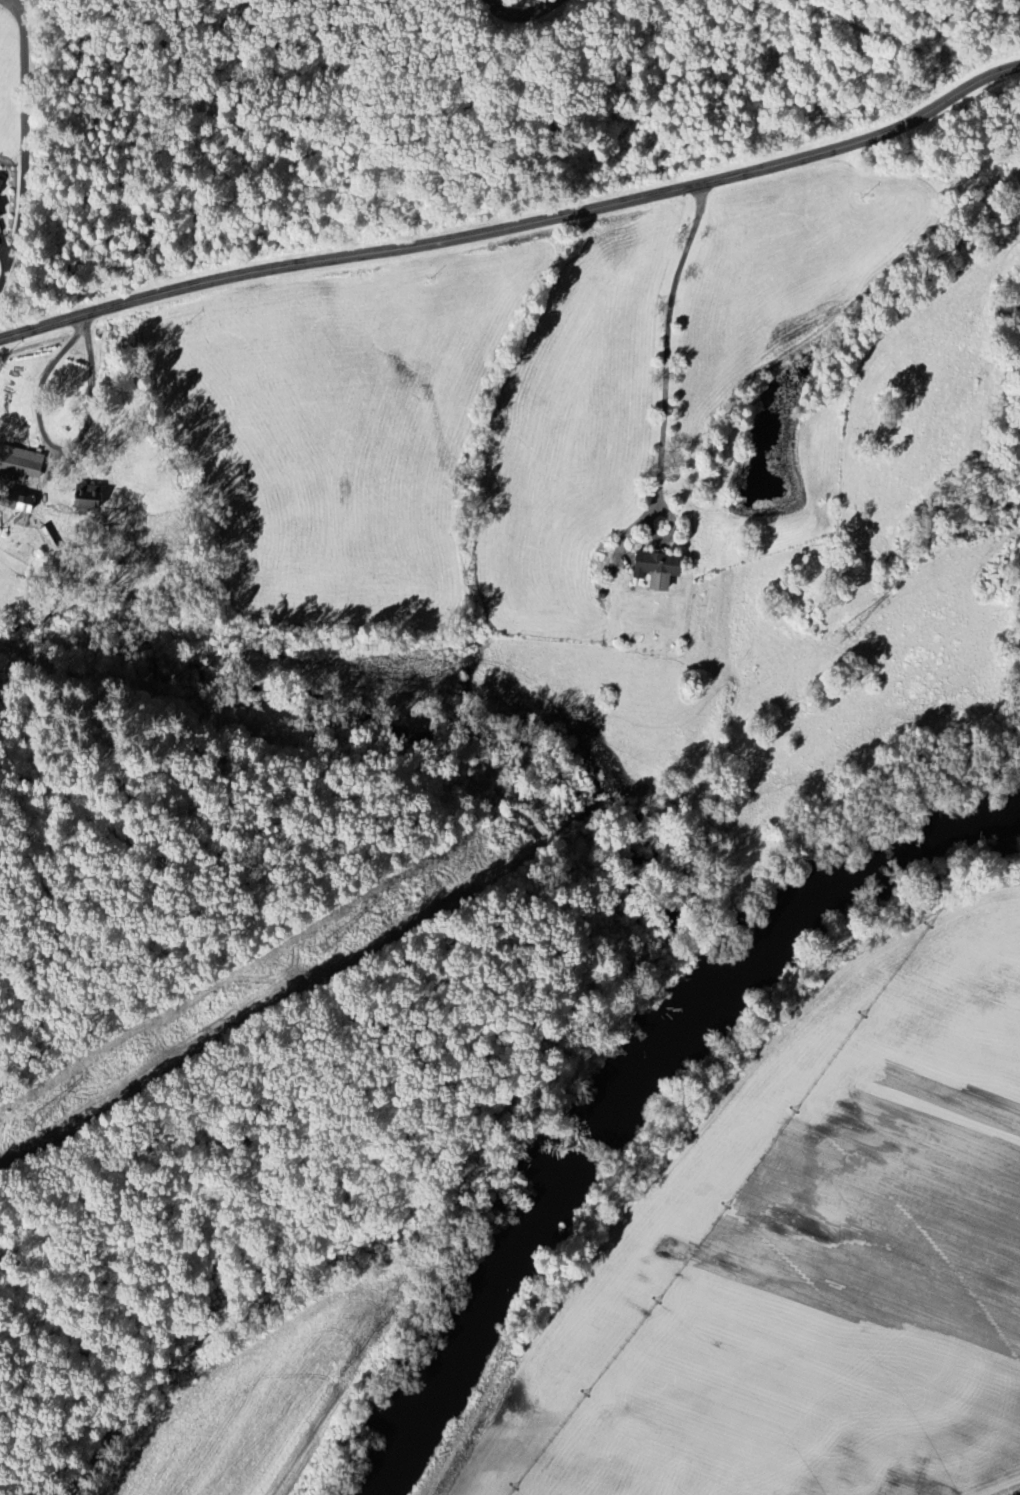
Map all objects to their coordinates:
road: (529, 18)
building: (1, 189)
road: (22, 207)
road: (514, 226)
road: (6, 259)
road: (669, 340)
road: (56, 451)
building: (21, 465)
building: (89, 498)
building: (23, 503)
building: (651, 571)
power tower: (839, 635)
river: (855, 880)
power tower: (323, 947)
power tower: (33, 1123)
river: (522, 1229)

